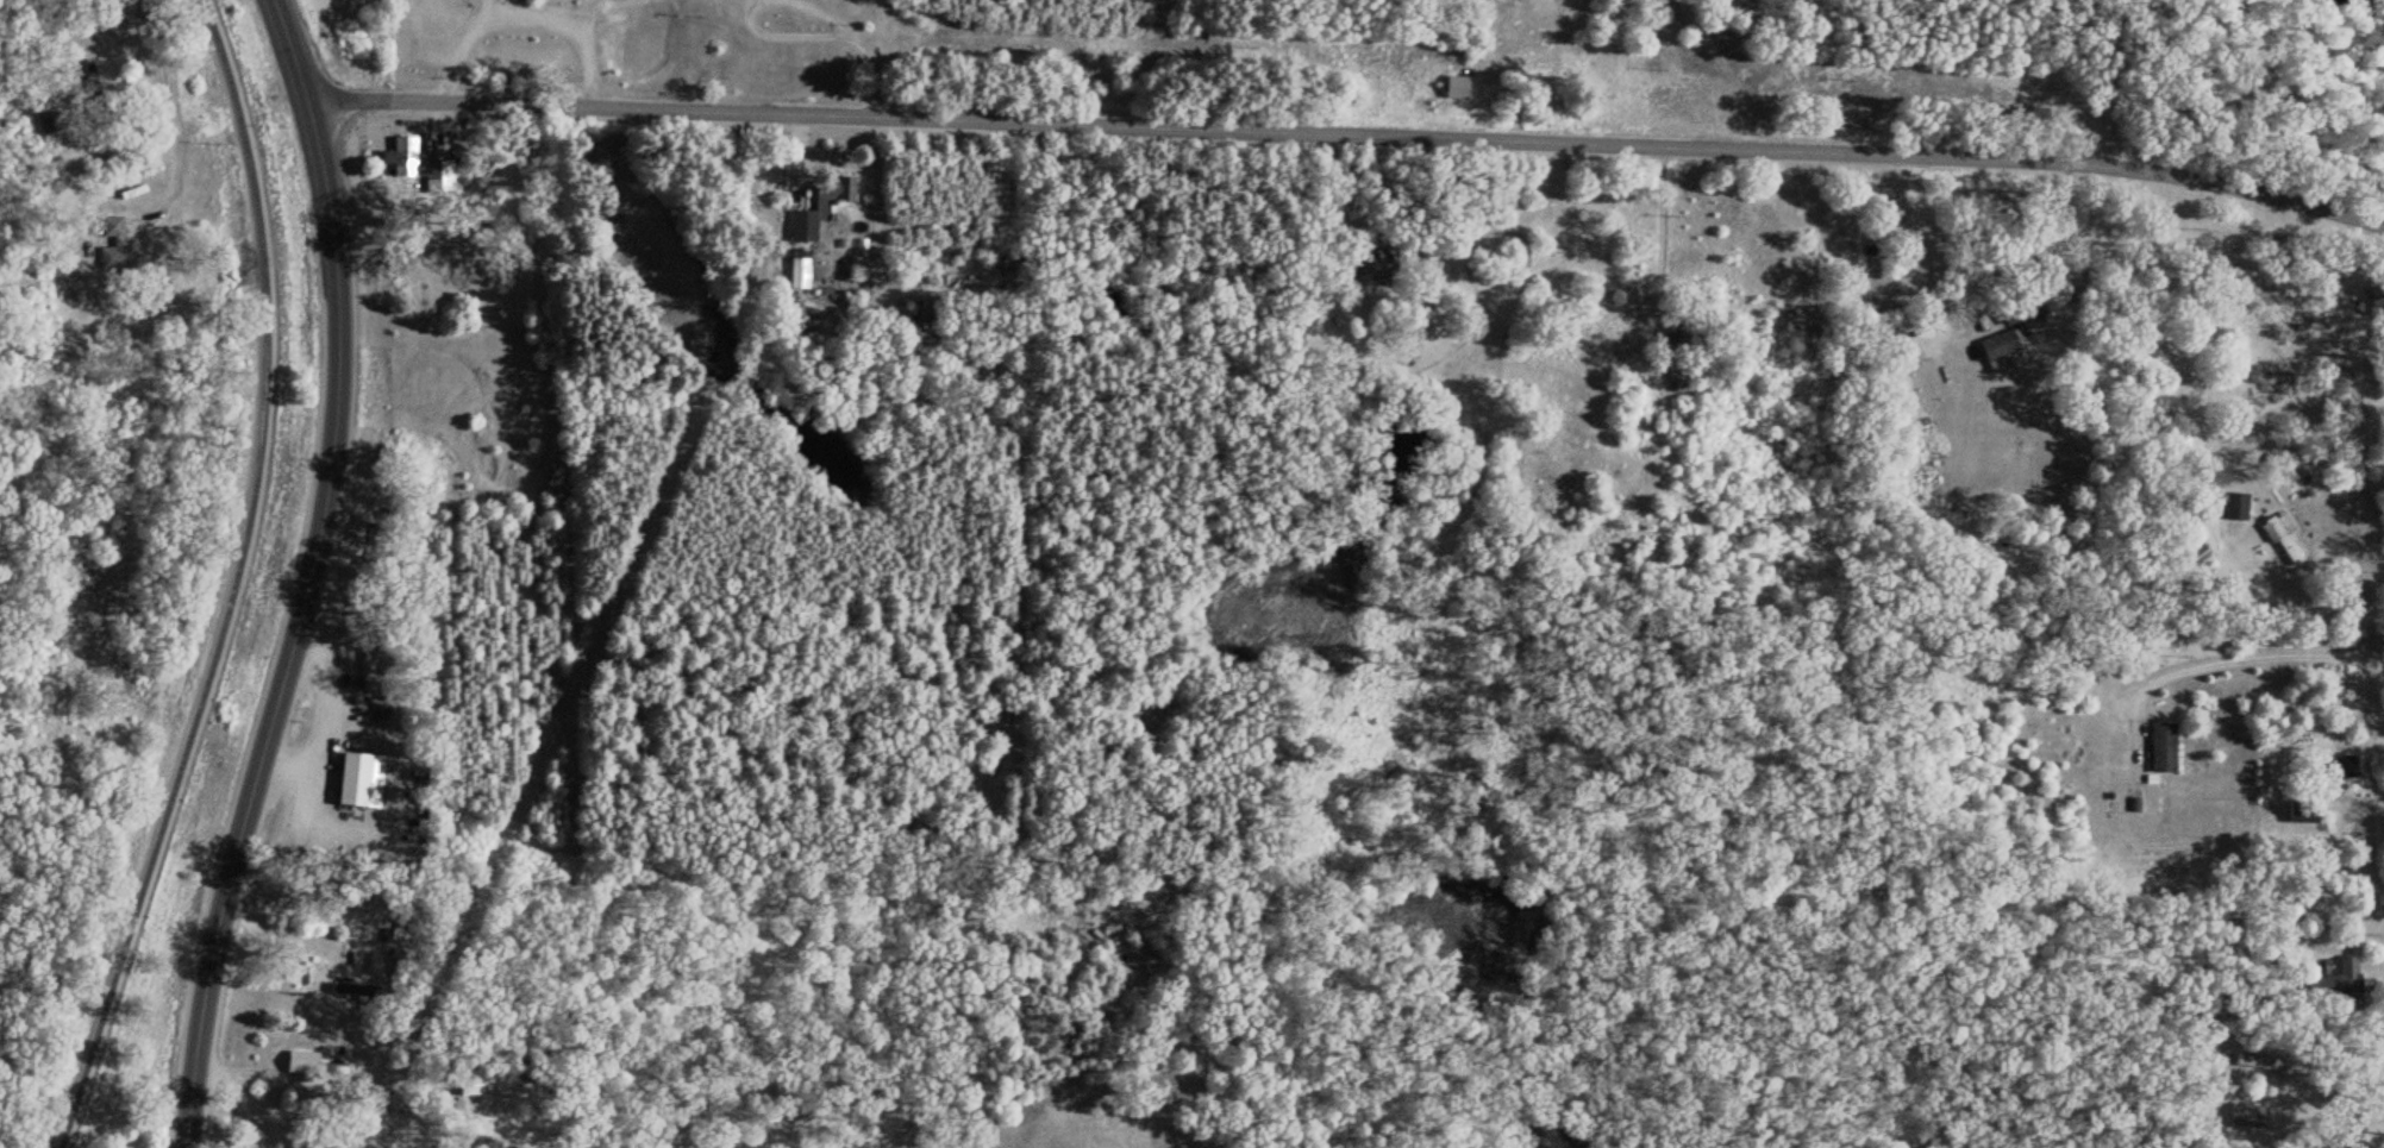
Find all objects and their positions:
road: (152, 32)
road: (1350, 134)
road: (104, 144)
building: (419, 165)
building: (833, 195)
building: (797, 275)
building: (2027, 309)
building: (2000, 351)
building: (2277, 545)
road: (295, 576)
railway: (217, 581)
building: (2163, 748)
building: (355, 778)
building: (2303, 814)
building: (380, 966)
building: (304, 1064)
building: (2242, 1115)

